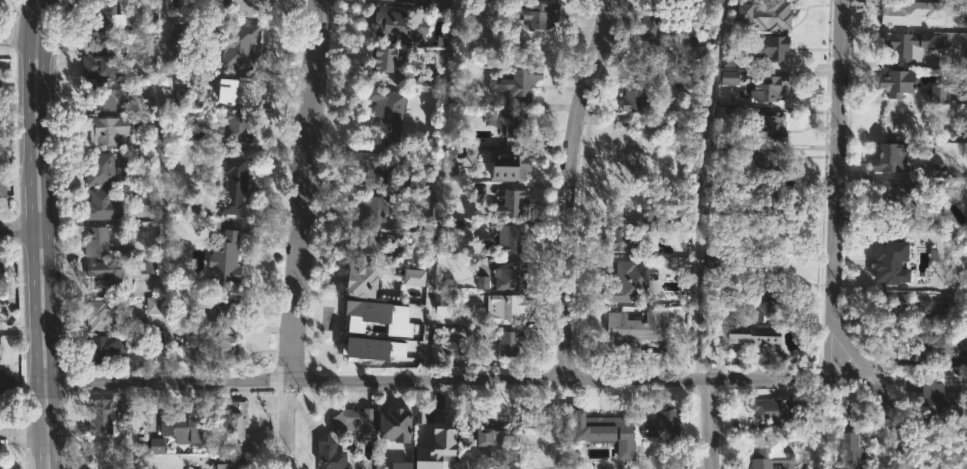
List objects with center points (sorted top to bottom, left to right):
road: (54, 1)
building: (395, 1)
road: (37, 2)
building: (173, 3)
building: (244, 7)
building: (910, 10)
building: (962, 12)
building: (532, 13)
building: (763, 13)
building: (697, 15)
building: (111, 21)
building: (395, 24)
building: (649, 24)
road: (11, 35)
road: (35, 35)
building: (176, 40)
building: (244, 40)
building: (904, 45)
building: (768, 47)
building: (387, 57)
building: (657, 58)
building: (728, 58)
building: (102, 61)
road: (793, 74)
building: (729, 77)
building: (514, 82)
building: (895, 82)
building: (766, 87)
building: (240, 91)
building: (1, 92)
building: (109, 92)
building: (937, 93)
building: (187, 97)
building: (635, 97)
building: (962, 101)
building: (385, 111)
building: (506, 121)
building: (769, 125)
building: (236, 126)
building: (110, 129)
building: (454, 144)
building: (887, 155)
building: (621, 158)
building: (764, 161)
building: (507, 165)
building: (101, 168)
building: (380, 168)
building: (935, 170)
building: (4, 185)
building: (233, 186)
road: (567, 188)
road: (702, 188)
road: (437, 190)
road: (160, 191)
building: (891, 194)
building: (766, 198)
building: (510, 203)
building: (103, 205)
building: (373, 207)
road: (13, 228)
road: (38, 228)
building: (761, 233)
road: (26, 234)
road: (50, 234)
road: (297, 234)
building: (617, 236)
building: (507, 238)
building: (99, 241)
building: (366, 241)
road: (836, 245)
building: (223, 255)
building: (888, 257)
building: (713, 260)
building: (760, 268)
building: (3, 273)
building: (106, 274)
building: (511, 276)
building: (413, 277)
building: (357, 280)
building: (483, 282)
building: (624, 284)
building: (756, 301)
building: (153, 304)
building: (497, 305)
building: (222, 307)
building: (901, 311)
building: (101, 315)
building: (356, 325)
building: (632, 328)
road: (14, 330)
building: (751, 335)
building: (507, 342)
building: (209, 344)
building: (935, 347)
building: (104, 348)
building: (371, 348)
building: (455, 349)
road: (457, 382)
building: (7, 383)
road: (42, 384)
building: (938, 399)
building: (768, 410)
building: (109, 414)
building: (232, 420)
building: (353, 420)
building: (431, 420)
building: (174, 423)
road: (710, 423)
building: (661, 424)
building: (392, 425)
building: (590, 428)
road: (310, 430)
building: (488, 433)
road: (15, 435)
road: (42, 435)
building: (467, 436)
building: (156, 446)
building: (847, 450)
building: (326, 453)
building: (769, 456)
building: (228, 461)
building: (447, 461)
building: (399, 465)
building: (533, 467)

